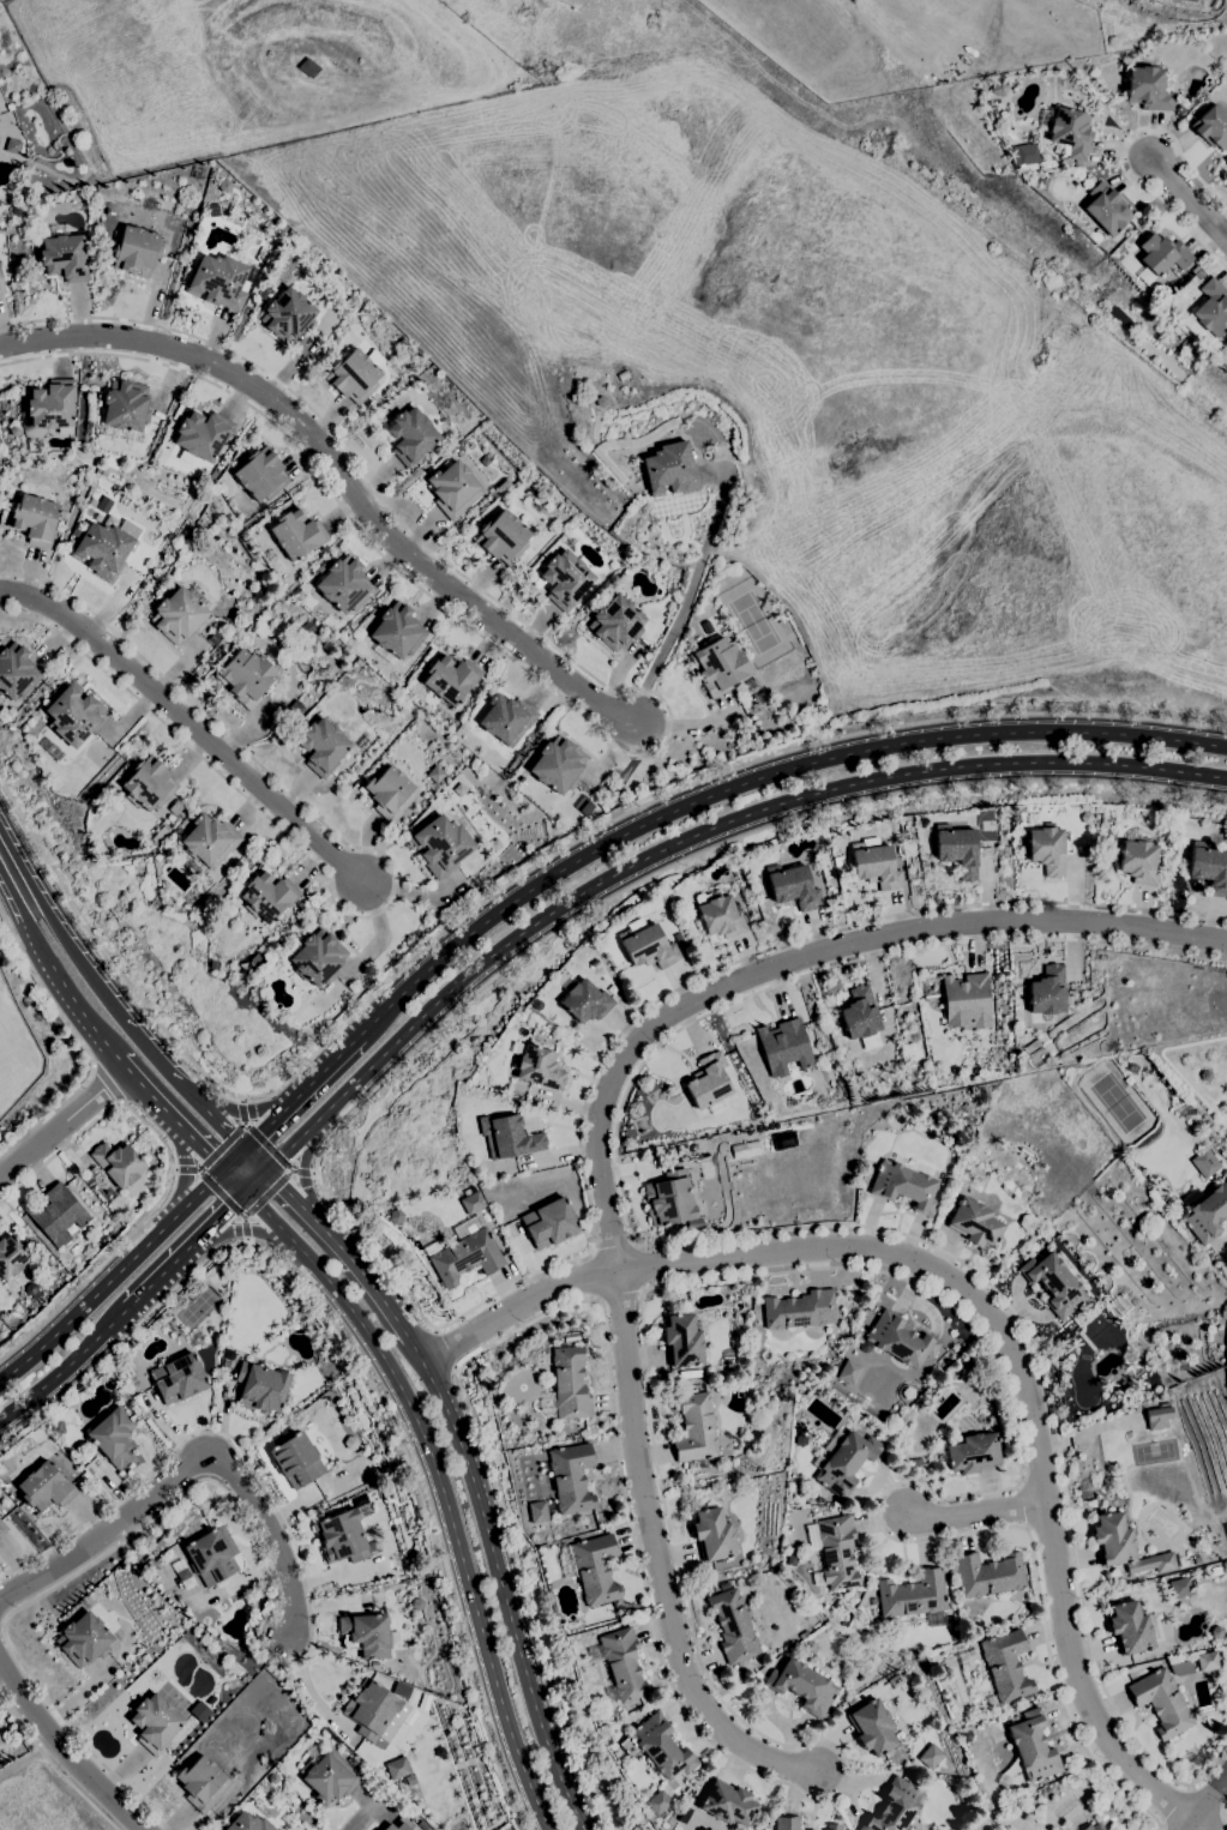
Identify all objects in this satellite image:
building: (1191, 0)
road: (967, 37)
building: (999, 86)
building: (1148, 89)
building: (1211, 126)
building: (1067, 132)
building: (12, 145)
building: (1022, 153)
road: (1119, 153)
road: (1187, 199)
building: (1105, 209)
building: (136, 251)
building: (1161, 254)
building: (65, 258)
building: (218, 281)
building: (1, 284)
building: (266, 287)
building: (263, 293)
building: (351, 301)
building: (1208, 312)
building: (288, 315)
building: (354, 374)
building: (622, 375)
building: (600, 401)
building: (52, 404)
building: (125, 413)
building: (13, 431)
building: (410, 435)
building: (200, 437)
building: (628, 446)
building: (485, 460)
building: (670, 469)
building: (260, 474)
road: (344, 475)
building: (452, 488)
building: (102, 490)
building: (89, 505)
building: (64, 514)
building: (35, 519)
building: (296, 534)
building: (548, 534)
building: (501, 537)
building: (71, 543)
building: (102, 549)
building: (565, 579)
building: (344, 584)
road: (686, 592)
building: (299, 595)
building: (178, 615)
building: (615, 622)
building: (307, 627)
building: (356, 633)
building: (396, 633)
building: (213, 638)
building: (718, 666)
building: (16, 672)
building: (246, 678)
building: (450, 679)
building: (295, 706)
building: (2, 715)
building: (74, 715)
building: (506, 718)
road: (199, 726)
road: (669, 730)
building: (321, 746)
building: (52, 750)
building: (557, 765)
building: (435, 773)
road: (756, 778)
building: (148, 783)
building: (459, 789)
building: (390, 793)
building: (175, 807)
building: (166, 824)
road: (691, 836)
building: (209, 841)
building: (494, 844)
building: (440, 845)
building: (908, 849)
building: (957, 849)
building: (1047, 849)
building: (1138, 859)
building: (836, 861)
building: (874, 863)
building: (1209, 868)
road: (12, 873)
road: (509, 883)
building: (792, 886)
road: (393, 895)
building: (267, 896)
building: (718, 915)
road: (32, 932)
building: (681, 945)
building: (648, 946)
road: (801, 957)
road: (77, 958)
building: (317, 958)
building: (1047, 991)
building: (966, 998)
building: (585, 1001)
road: (83, 1011)
building: (861, 1017)
road: (82, 1045)
building: (783, 1047)
building: (842, 1051)
road: (156, 1059)
building: (536, 1066)
building: (842, 1068)
building: (709, 1084)
road: (104, 1088)
road: (290, 1101)
park: (1117, 1102)
road: (241, 1110)
road: (236, 1112)
road: (215, 1120)
road: (62, 1122)
road: (178, 1124)
building: (512, 1137)
building: (783, 1142)
road: (266, 1145)
road: (221, 1146)
building: (745, 1148)
traffic signals: (243, 1149)
building: (679, 1149)
building: (118, 1163)
building: (1205, 1163)
road: (187, 1168)
traffic signals: (223, 1169)
road: (184, 1170)
traffic signals: (264, 1170)
road: (302, 1172)
road: (301, 1174)
road: (168, 1178)
building: (976, 1182)
road: (213, 1186)
building: (903, 1186)
traffic signals: (243, 1191)
road: (266, 1193)
building: (952, 1194)
building: (670, 1200)
building: (471, 1202)
road: (235, 1211)
building: (1204, 1211)
building: (56, 1214)
building: (395, 1216)
building: (548, 1222)
building: (974, 1222)
building: (1027, 1222)
road: (239, 1229)
road: (243, 1229)
road: (727, 1234)
road: (194, 1239)
road: (331, 1239)
road: (373, 1248)
building: (464, 1253)
building: (11, 1257)
road: (113, 1276)
building: (1053, 1283)
road: (978, 1302)
building: (799, 1310)
building: (173, 1328)
building: (178, 1337)
building: (196, 1338)
building: (900, 1340)
building: (681, 1341)
road: (447, 1348)
building: (225, 1350)
road: (66, 1366)
road: (361, 1367)
building: (849, 1372)
building: (178, 1378)
building: (570, 1383)
building: (260, 1386)
building: (140, 1389)
building: (1159, 1416)
building: (56, 1427)
building: (694, 1427)
building: (112, 1435)
building: (800, 1440)
building: (350, 1443)
building: (89, 1446)
building: (26, 1447)
building: (973, 1453)
building: (78, 1459)
building: (295, 1459)
building: (843, 1461)
building: (915, 1462)
road: (194, 1468)
building: (0, 1469)
building: (570, 1479)
building: (44, 1487)
road: (439, 1488)
building: (832, 1509)
building: (537, 1511)
road: (979, 1512)
building: (2, 1528)
building: (712, 1534)
building: (341, 1537)
building: (1124, 1546)
building: (834, 1552)
building: (211, 1555)
road: (657, 1560)
building: (1197, 1560)
building: (595, 1569)
building: (1215, 1570)
building: (182, 1575)
building: (987, 1575)
road: (270, 1582)
road: (500, 1583)
building: (1180, 1587)
building: (913, 1599)
building: (252, 1605)
building: (840, 1605)
building: (788, 1606)
road: (690, 1620)
building: (733, 1626)
building: (1129, 1627)
building: (1216, 1631)
building: (367, 1635)
building: (956, 1637)
building: (83, 1639)
building: (1208, 1661)
building: (620, 1665)
building: (1005, 1666)
building: (1180, 1668)
building: (802, 1686)
building: (399, 1690)
building: (1028, 1698)
building: (1161, 1702)
building: (369, 1708)
building: (155, 1723)
building: (873, 1724)
building: (609, 1730)
building: (964, 1735)
building: (0, 1738)
building: (1033, 1746)
building: (661, 1747)
road: (64, 1752)
building: (931, 1756)
road: (55, 1765)
building: (397, 1768)
building: (327, 1775)
building: (272, 1778)
building: (1003, 1781)
building: (202, 1783)
road: (1223, 1796)
road: (1204, 1799)
building: (657, 1802)
building: (728, 1804)
road: (1209, 1805)
building: (895, 1806)
road: (1174, 1806)
road: (1221, 1811)
building: (685, 1814)
road: (359, 1817)
road: (1215, 1820)
building: (247, 1823)
building: (786, 1823)
building: (399, 1825)
building: (422, 1825)
building: (832, 1826)
building: (1093, 1826)
road: (1162, 1828)
building: (765, 1829)
building: (807, 1829)

